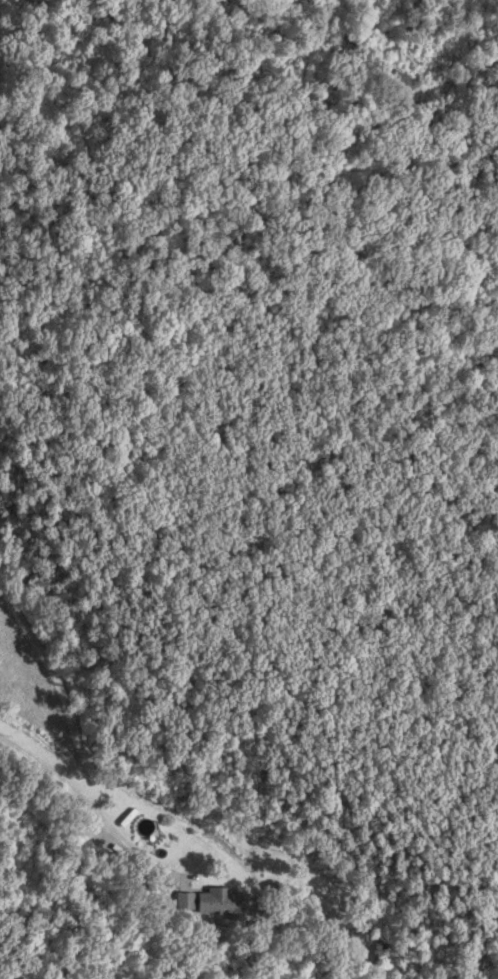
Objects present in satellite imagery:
building: (222, 900)

